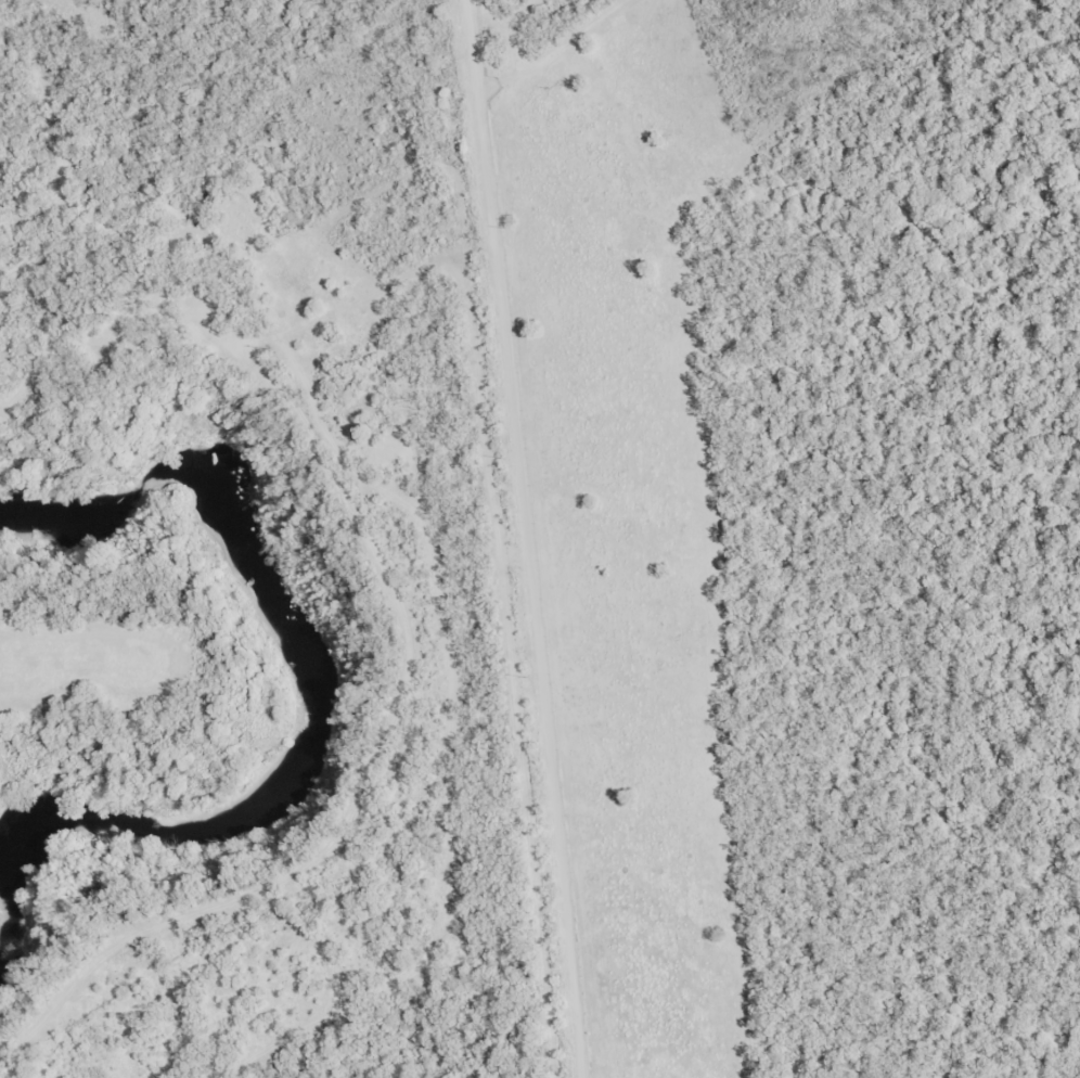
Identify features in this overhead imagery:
road: (524, 82)
road: (539, 587)
road: (190, 707)
river: (303, 713)

